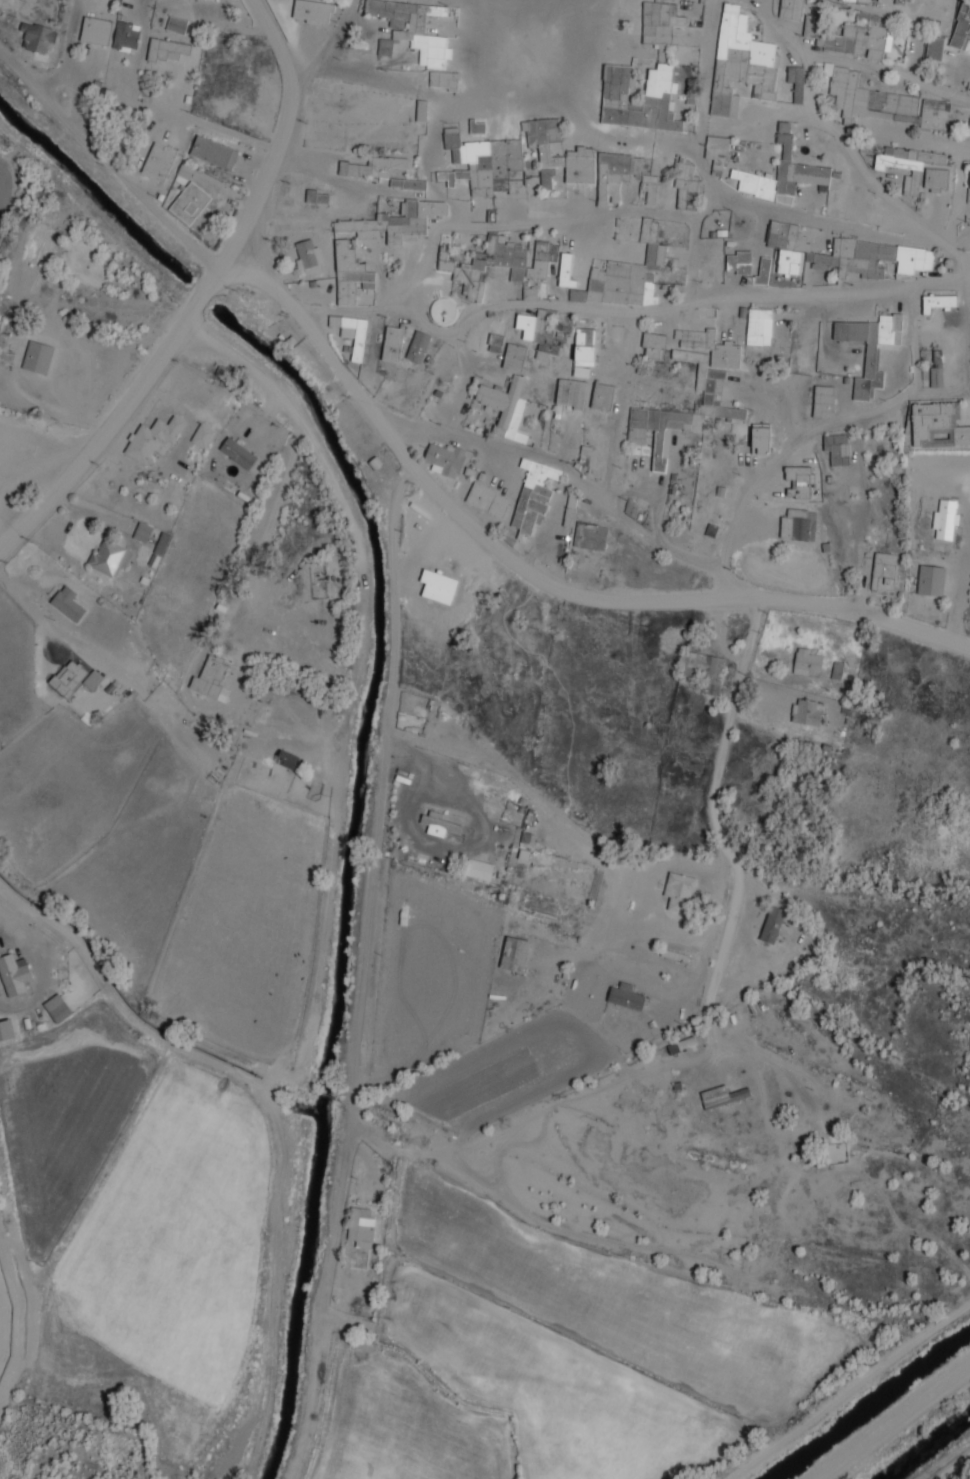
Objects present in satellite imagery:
building: (848, 0)
building: (900, 1)
building: (791, 9)
building: (312, 10)
road: (899, 13)
building: (176, 25)
building: (414, 27)
building: (961, 27)
building: (95, 30)
building: (126, 36)
building: (36, 37)
building: (858, 40)
road: (324, 45)
building: (385, 47)
building: (934, 48)
building: (166, 49)
road: (68, 52)
road: (853, 61)
building: (740, 62)
building: (619, 66)
building: (443, 80)
building: (796, 82)
building: (878, 100)
building: (421, 110)
road: (780, 111)
building: (477, 127)
road: (213, 128)
building: (969, 129)
road: (635, 136)
road: (948, 144)
building: (544, 146)
building: (716, 147)
building: (213, 152)
road: (704, 154)
building: (930, 158)
building: (158, 161)
building: (482, 162)
road: (107, 163)
building: (580, 165)
building: (902, 167)
building: (384, 171)
road: (863, 172)
building: (183, 173)
building: (781, 173)
building: (614, 175)
building: (935, 179)
building: (649, 183)
building: (685, 190)
building: (316, 196)
building: (189, 203)
building: (396, 221)
road: (821, 221)
building: (889, 223)
road: (525, 225)
building: (841, 253)
building: (305, 254)
building: (739, 262)
building: (501, 265)
road: (969, 267)
building: (565, 270)
building: (763, 271)
building: (349, 274)
building: (623, 280)
road: (969, 282)
road: (831, 294)
road: (199, 296)
building: (937, 301)
road: (488, 307)
building: (442, 310)
building: (759, 326)
building: (351, 332)
building: (541, 334)
building: (495, 342)
building: (391, 343)
building: (653, 344)
building: (418, 346)
building: (870, 348)
building: (583, 352)
building: (37, 357)
building: (514, 357)
building: (707, 360)
building: (936, 370)
building: (571, 393)
building: (602, 396)
building: (823, 401)
building: (505, 407)
building: (730, 412)
building: (937, 425)
building: (656, 430)
building: (202, 435)
building: (760, 437)
building: (153, 438)
building: (837, 448)
building: (238, 452)
building: (444, 459)
road: (499, 459)
building: (798, 480)
building: (533, 495)
building: (487, 499)
building: (569, 510)
building: (945, 519)
building: (794, 524)
building: (142, 532)
building: (590, 536)
building: (161, 543)
building: (109, 557)
road: (699, 559)
building: (883, 571)
road: (533, 575)
building: (930, 580)
road: (724, 581)
building: (68, 603)
building: (806, 661)
building: (704, 669)
building: (837, 670)
building: (70, 676)
building: (211, 678)
building: (805, 712)
road: (727, 725)
building: (287, 759)
road: (378, 801)
road: (556, 813)
building: (442, 821)
building: (479, 869)
building: (678, 891)
building: (540, 906)
building: (772, 924)
building: (514, 953)
road: (718, 953)
building: (13, 974)
building: (625, 996)
building: (57, 1008)
building: (721, 1096)
building: (360, 1226)

